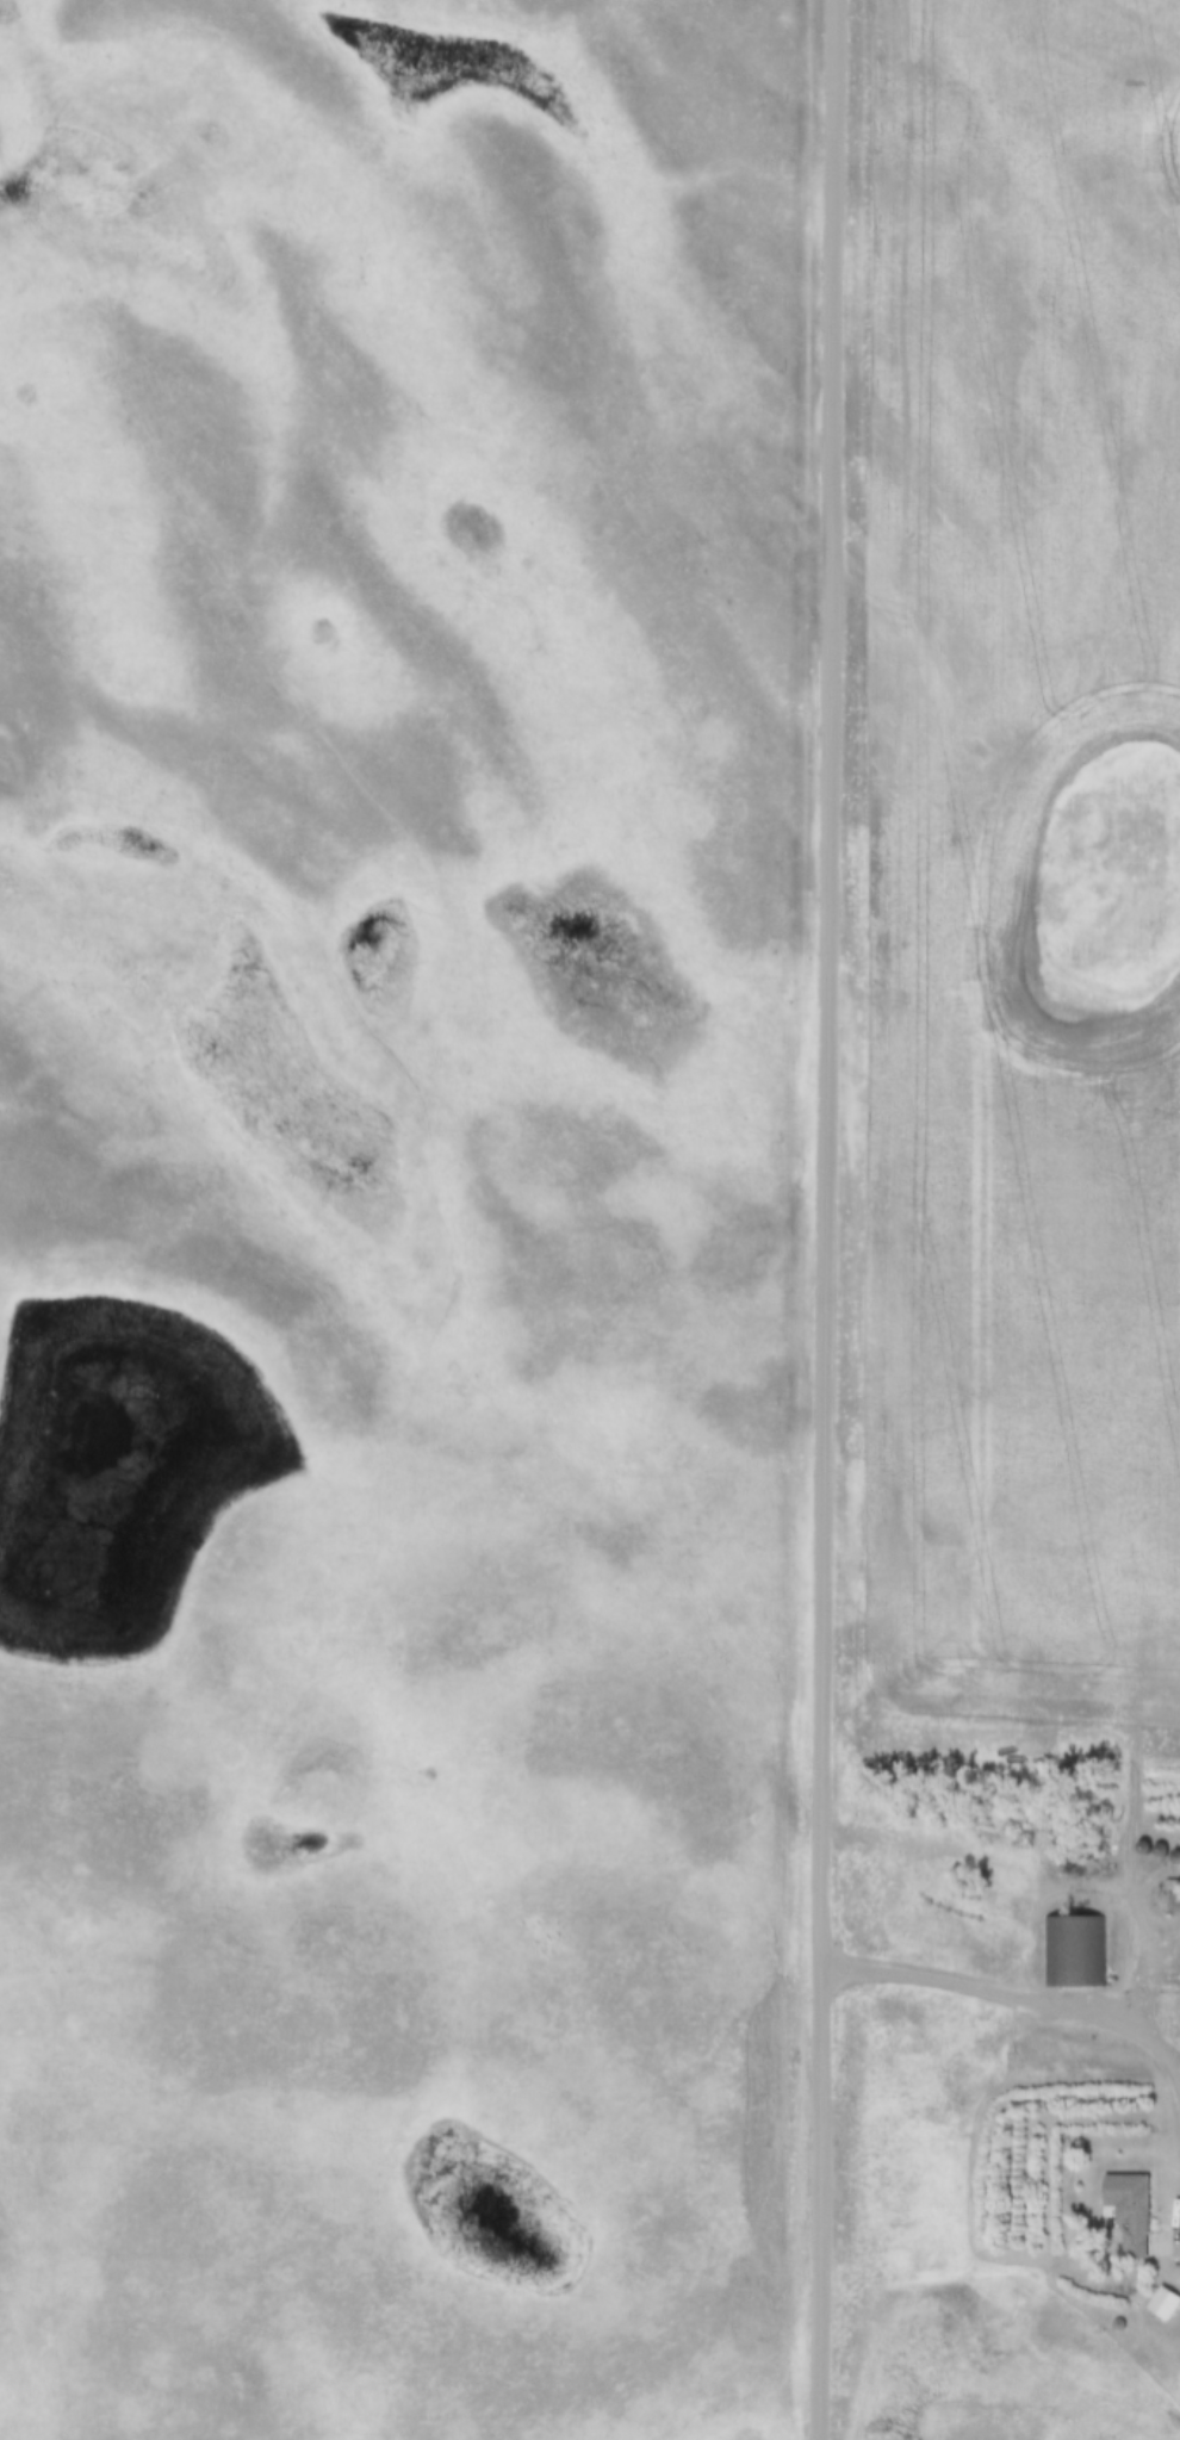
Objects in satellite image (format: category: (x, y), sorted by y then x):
road: (836, 1219)
building: (1174, 1902)
building: (1074, 1951)
road: (1017, 1997)
building: (1130, 2210)

